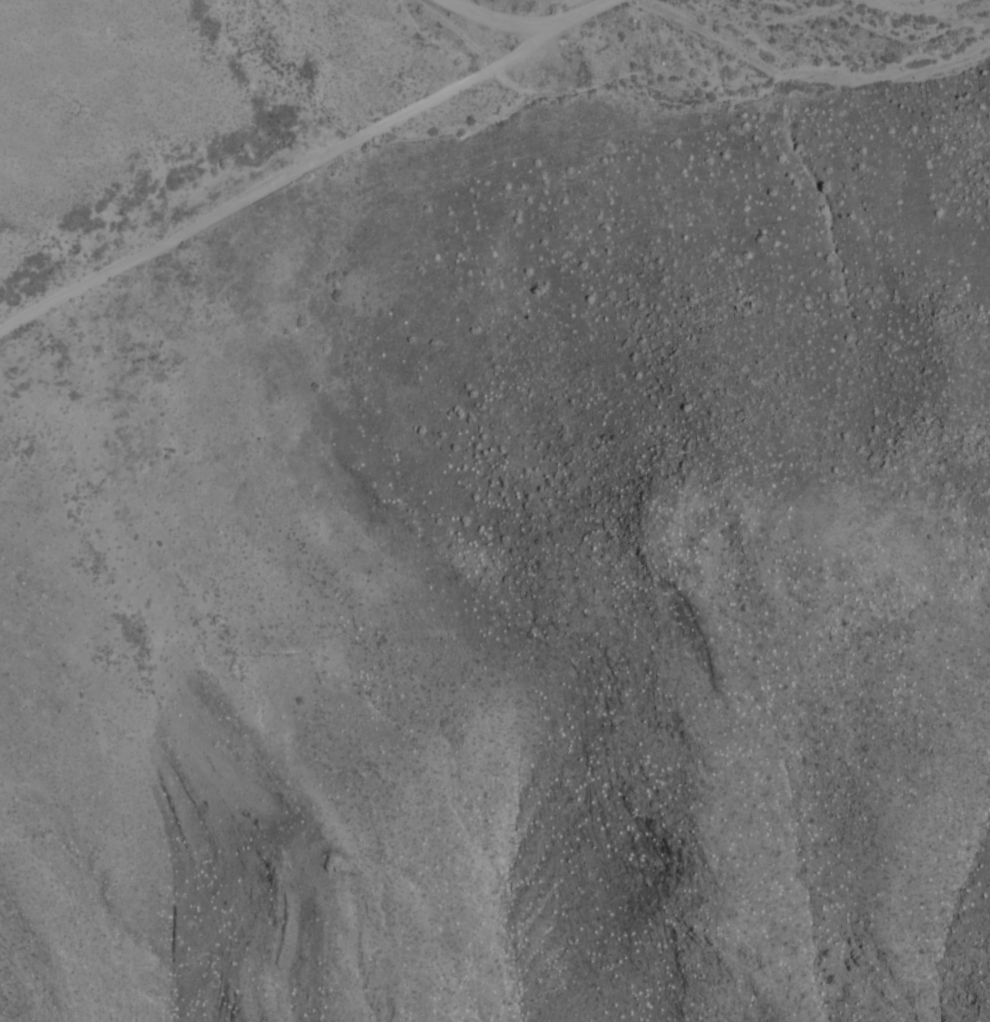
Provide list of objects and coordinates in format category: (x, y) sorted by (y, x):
road: (527, 26)
road: (287, 178)

